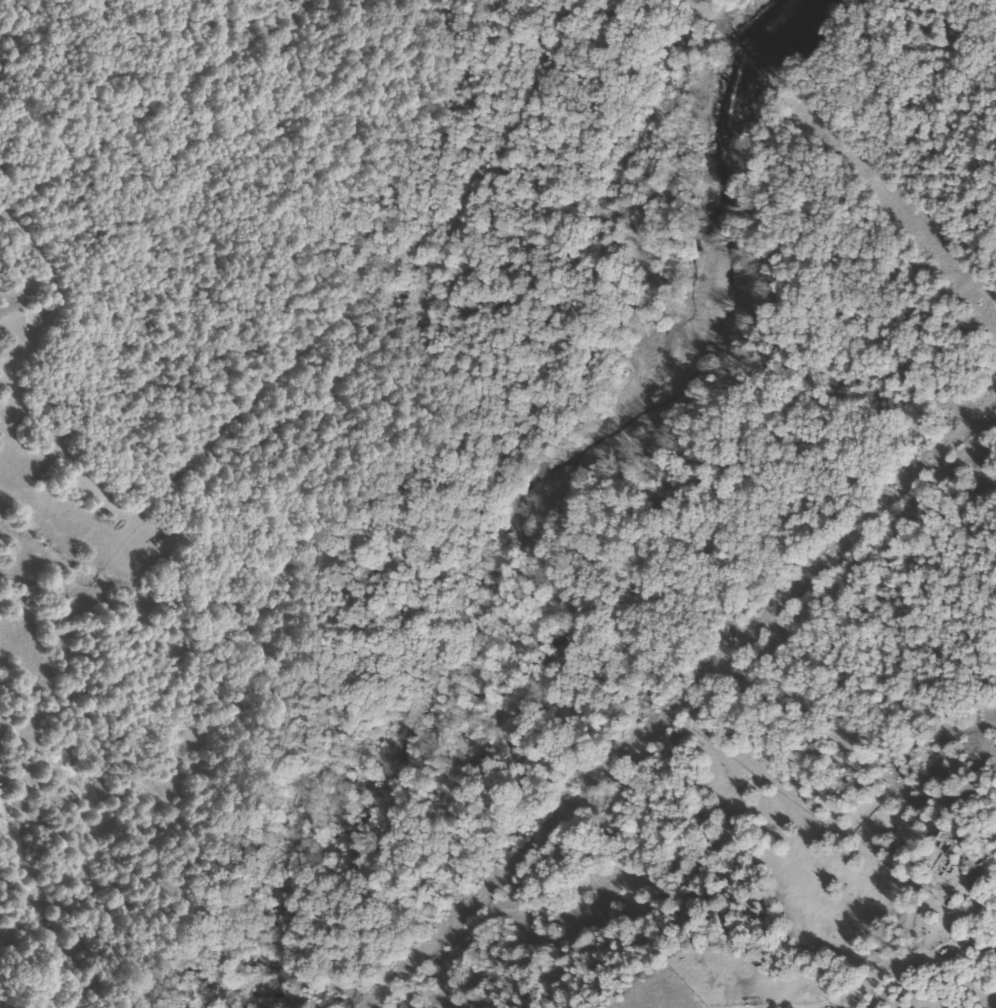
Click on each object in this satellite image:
building: (947, 842)

